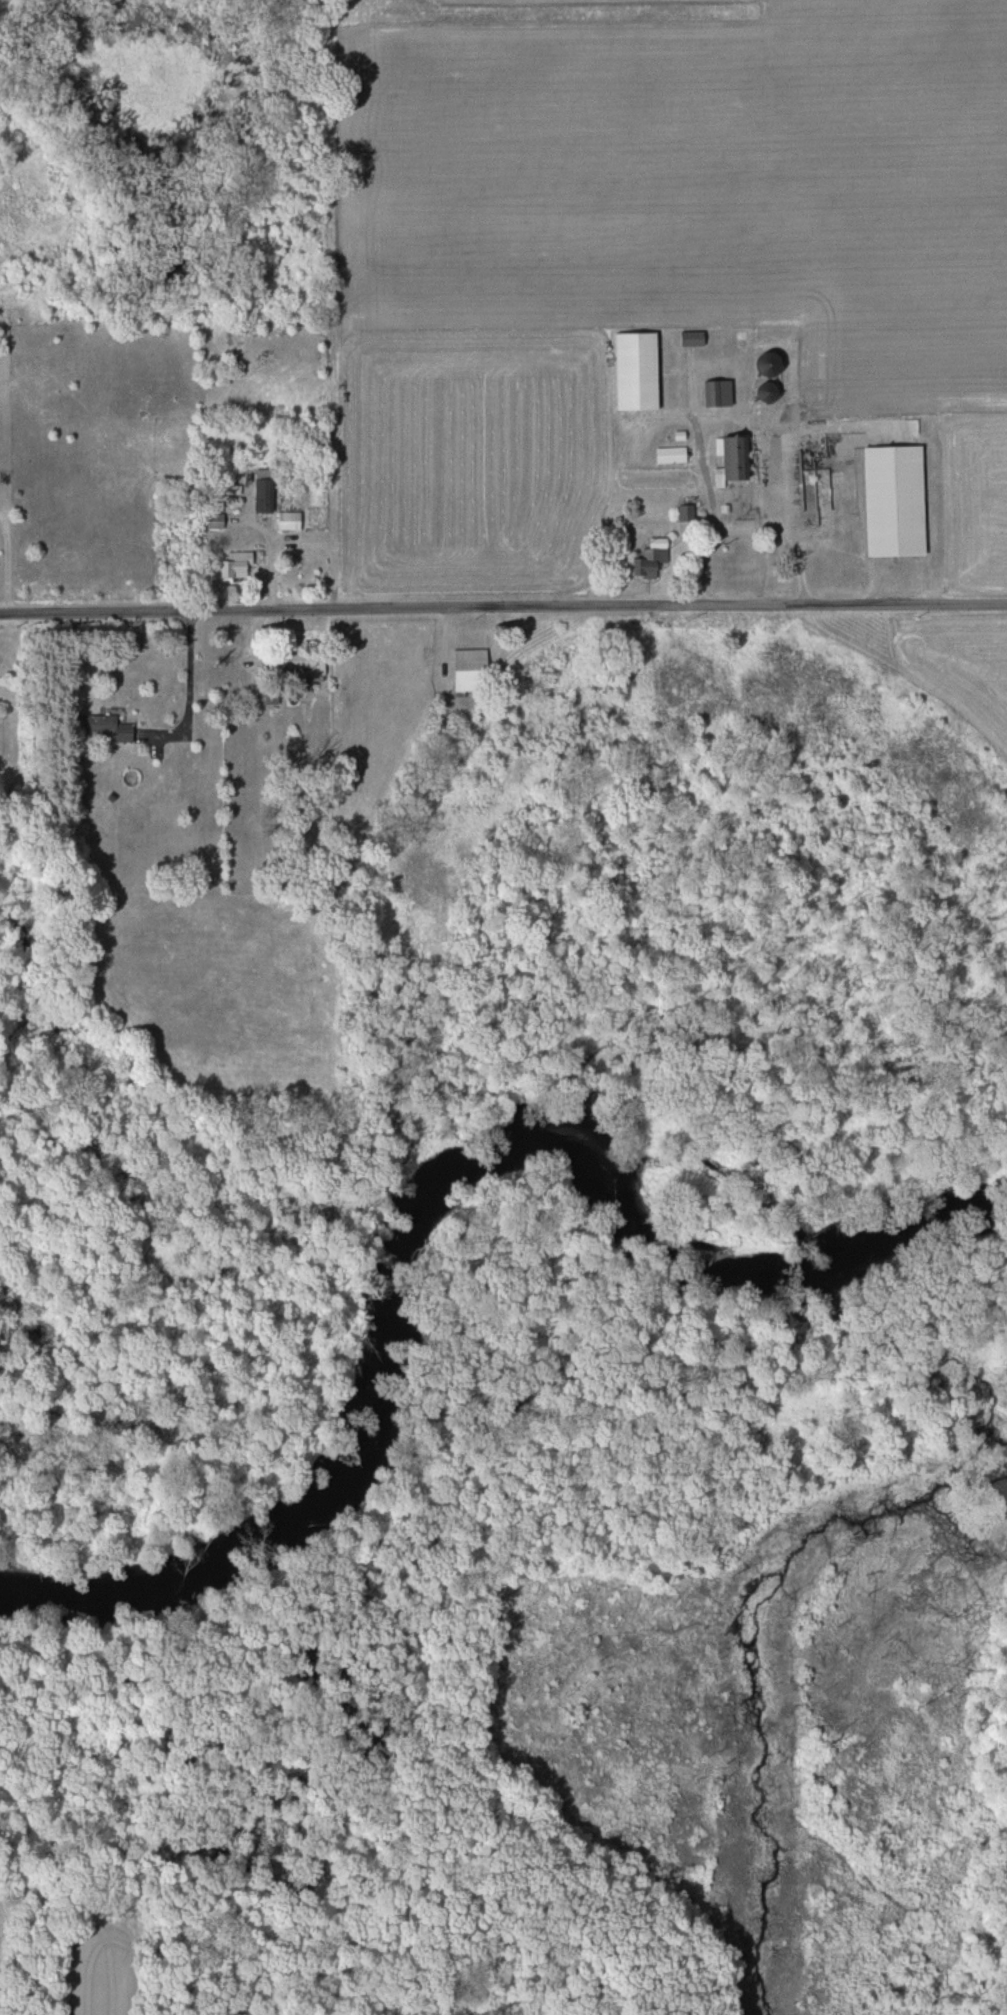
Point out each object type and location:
building: (759, 364)
building: (636, 370)
building: (761, 391)
building: (715, 393)
building: (668, 455)
building: (728, 457)
building: (890, 501)
building: (260, 505)
building: (683, 513)
building: (211, 520)
building: (286, 520)
building: (647, 559)
building: (231, 566)
road: (503, 606)
building: (302, 662)
building: (465, 667)
road: (189, 688)
building: (110, 727)
river: (443, 1216)

